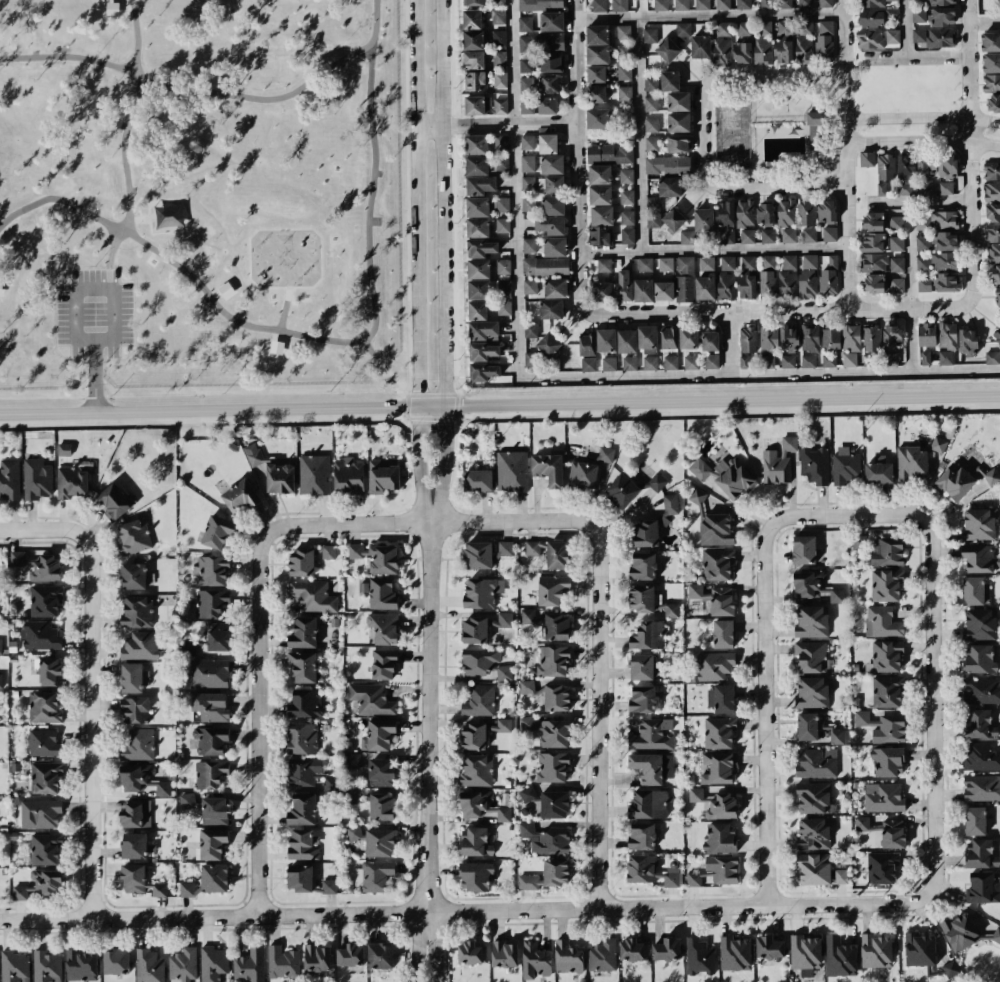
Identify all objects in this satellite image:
building: (918, 0)
building: (474, 2)
building: (498, 2)
building: (941, 2)
building: (784, 3)
building: (824, 3)
building: (871, 3)
building: (540, 4)
building: (661, 4)
building: (681, 4)
building: (702, 4)
building: (723, 4)
building: (743, 4)
building: (765, 4)
building: (599, 5)
building: (619, 5)
road: (709, 14)
building: (919, 15)
building: (498, 16)
building: (942, 16)
building: (876, 17)
building: (472, 19)
road: (984, 20)
building: (552, 21)
building: (525, 23)
building: (785, 27)
building: (744, 28)
building: (765, 28)
road: (905, 28)
building: (682, 29)
building: (623, 32)
building: (650, 34)
building: (892, 36)
building: (935, 36)
building: (499, 37)
building: (870, 38)
building: (473, 39)
building: (824, 39)
building: (804, 41)
building: (990, 41)
building: (542, 42)
building: (597, 44)
building: (722, 44)
building: (700, 46)
building: (668, 49)
building: (762, 50)
building: (783, 50)
building: (623, 52)
building: (742, 52)
road: (917, 56)
building: (499, 58)
building: (474, 59)
building: (991, 62)
building: (526, 64)
building: (552, 64)
building: (624, 72)
building: (596, 73)
road: (774, 75)
building: (500, 79)
building: (475, 80)
building: (670, 80)
building: (992, 82)
building: (650, 83)
building: (540, 84)
building: (596, 93)
building: (624, 93)
building: (678, 101)
building: (651, 103)
building: (993, 103)
building: (478, 104)
building: (538, 105)
building: (500, 106)
building: (598, 118)
road: (922, 118)
building: (679, 121)
road: (524, 124)
building: (651, 124)
road: (445, 126)
building: (815, 130)
road: (639, 133)
road: (703, 134)
road: (922, 140)
building: (528, 141)
building: (501, 142)
building: (548, 143)
building: (651, 143)
building: (678, 143)
building: (476, 144)
road: (971, 150)
building: (609, 153)
road: (845, 154)
road: (577, 156)
building: (867, 159)
building: (502, 162)
building: (528, 163)
building: (552, 163)
building: (927, 163)
building: (668, 164)
building: (477, 165)
building: (948, 167)
building: (992, 170)
building: (905, 173)
building: (599, 174)
building: (626, 175)
building: (528, 183)
building: (551, 183)
building: (480, 184)
building: (669, 186)
building: (925, 187)
building: (945, 187)
road: (777, 188)
building: (881, 188)
building: (600, 194)
building: (626, 196)
road: (918, 201)
building: (502, 204)
building: (528, 204)
building: (553, 205)
building: (477, 206)
building: (827, 210)
building: (653, 211)
building: (992, 211)
building: (765, 212)
building: (786, 212)
building: (806, 212)
building: (745, 213)
building: (627, 217)
building: (673, 219)
building: (704, 219)
building: (726, 220)
building: (873, 220)
building: (937, 220)
building: (896, 222)
building: (502, 224)
building: (550, 224)
building: (601, 224)
building: (477, 227)
building: (992, 232)
building: (830, 233)
building: (809, 234)
building: (747, 235)
building: (768, 235)
building: (788, 235)
building: (627, 236)
building: (686, 237)
building: (944, 240)
building: (872, 242)
building: (896, 243)
building: (922, 243)
building: (529, 245)
building: (555, 246)
building: (482, 247)
road: (713, 249)
building: (789, 261)
building: (810, 261)
road: (418, 262)
road: (444, 262)
building: (727, 262)
building: (748, 262)
building: (874, 262)
building: (936, 262)
building: (665, 263)
building: (707, 263)
building: (604, 264)
building: (645, 264)
building: (896, 264)
building: (503, 266)
building: (545, 266)
building: (478, 268)
building: (996, 274)
building: (767, 275)
building: (829, 276)
building: (684, 279)
building: (939, 282)
building: (807, 283)
building: (875, 283)
building: (787, 284)
building: (897, 284)
building: (623, 285)
building: (725, 285)
road: (910, 285)
building: (503, 286)
building: (530, 286)
building: (747, 286)
building: (555, 287)
building: (705, 287)
building: (479, 289)
building: (643, 290)
building: (664, 290)
building: (603, 291)
building: (998, 296)
building: (504, 307)
building: (551, 308)
road: (77, 310)
building: (477, 310)
road: (779, 311)
building: (531, 329)
building: (483, 330)
building: (926, 334)
building: (947, 334)
building: (892, 335)
building: (688, 336)
building: (669, 337)
building: (788, 337)
building: (851, 337)
building: (998, 337)
building: (810, 338)
building: (871, 338)
building: (606, 339)
building: (748, 339)
building: (627, 340)
building: (710, 340)
building: (968, 340)
road: (732, 343)
building: (549, 344)
building: (587, 345)
building: (830, 346)
building: (763, 350)
building: (482, 351)
building: (925, 357)
building: (946, 357)
building: (530, 358)
building: (890, 358)
building: (849, 359)
building: (788, 360)
building: (808, 360)
building: (691, 361)
building: (711, 361)
building: (629, 362)
building: (650, 362)
building: (670, 362)
building: (609, 363)
building: (588, 364)
building: (483, 371)
road: (570, 378)
road: (499, 406)
building: (938, 444)
building: (64, 449)
building: (253, 454)
building: (606, 454)
building: (779, 460)
building: (913, 461)
building: (814, 465)
building: (548, 468)
building: (846, 468)
building: (511, 470)
building: (878, 470)
building: (314, 474)
building: (583, 474)
building: (348, 475)
building: (383, 475)
building: (725, 475)
building: (992, 476)
building: (10, 478)
building: (280, 478)
building: (37, 479)
building: (478, 480)
building: (656, 481)
building: (954, 481)
building: (72, 482)
building: (621, 490)
building: (240, 496)
building: (115, 501)
building: (712, 522)
road: (409, 523)
building: (655, 523)
building: (979, 524)
road: (823, 529)
road: (3, 530)
building: (218, 531)
building: (134, 536)
building: (533, 547)
building: (804, 549)
building: (887, 551)
building: (485, 553)
building: (558, 554)
building: (377, 556)
building: (979, 558)
building: (307, 559)
building: (717, 563)
building: (643, 566)
building: (135, 576)
building: (808, 583)
building: (886, 585)
building: (552, 589)
building: (482, 591)
building: (975, 591)
building: (383, 594)
building: (837, 594)
building: (313, 595)
building: (641, 598)
building: (715, 598)
building: (45, 599)
building: (211, 602)
building: (671, 609)
building: (137, 611)
building: (527, 614)
building: (502, 620)
building: (812, 621)
building: (882, 621)
building: (980, 624)
building: (557, 626)
building: (384, 627)
building: (475, 629)
building: (304, 632)
building: (723, 633)
building: (39, 635)
building: (218, 635)
building: (648, 635)
building: (142, 645)
building: (1, 646)
building: (188, 647)
building: (887, 655)
building: (811, 656)
building: (979, 659)
building: (553, 660)
building: (485, 663)
building: (383, 664)
building: (303, 665)
building: (715, 665)
building: (641, 666)
building: (48, 670)
building: (209, 673)
building: (133, 677)
building: (1, 680)
road: (92, 687)
building: (981, 690)
building: (887, 691)
building: (812, 692)
building: (549, 695)
road: (597, 696)
building: (721, 698)
building: (372, 699)
building: (643, 699)
building: (479, 700)
building: (305, 703)
building: (211, 706)
building: (44, 707)
building: (135, 709)
road: (257, 723)
building: (980, 723)
road: (429, 726)
building: (883, 726)
building: (548, 731)
building: (719, 731)
building: (379, 734)
building: (653, 734)
building: (473, 736)
building: (303, 737)
building: (211, 739)
building: (44, 742)
building: (138, 744)
building: (981, 756)
building: (353, 760)
building: (888, 761)
building: (817, 763)
building: (552, 767)
building: (652, 767)
building: (719, 767)
building: (477, 770)
building: (382, 771)
building: (307, 772)
building: (210, 773)
building: (45, 776)
building: (143, 779)
building: (981, 788)
building: (528, 794)
building: (695, 794)
building: (352, 795)
building: (883, 796)
building: (813, 797)
building: (188, 800)
road: (766, 801)
building: (554, 804)
building: (483, 805)
building: (648, 805)
building: (382, 806)
building: (722, 806)
building: (303, 809)
building: (214, 810)
building: (40, 813)
building: (137, 813)
building: (975, 820)
building: (862, 822)
building: (354, 832)
building: (813, 833)
building: (893, 833)
building: (642, 836)
building: (546, 838)
building: (720, 838)
building: (379, 842)
building: (476, 842)
building: (213, 843)
building: (303, 844)
building: (136, 845)
building: (45, 848)
building: (980, 853)
building: (881, 867)
building: (723, 868)
building: (819, 869)
building: (651, 870)
building: (556, 871)
building: (374, 875)
building: (475, 875)
building: (215, 877)
building: (300, 877)
building: (133, 878)
building: (693, 878)
building: (529, 881)
building: (41, 884)
building: (983, 887)
building: (157, 889)
building: (187, 889)
road: (594, 907)
building: (964, 932)
building: (770, 947)
building: (633, 949)
building: (667, 949)
building: (876, 950)
building: (471, 952)
building: (504, 953)
building: (735, 953)
building: (351, 954)
building: (805, 954)
building: (925, 954)
building: (380, 955)
road: (421, 955)
road: (434, 955)
building: (602, 955)
building: (699, 956)
building: (568, 957)
building: (840, 957)
building: (317, 958)
building: (535, 960)
building: (116, 961)
building: (283, 962)
building: (213, 963)
building: (183, 964)
building: (81, 965)
building: (250, 965)
building: (14, 966)
building: (47, 966)
building: (149, 966)

